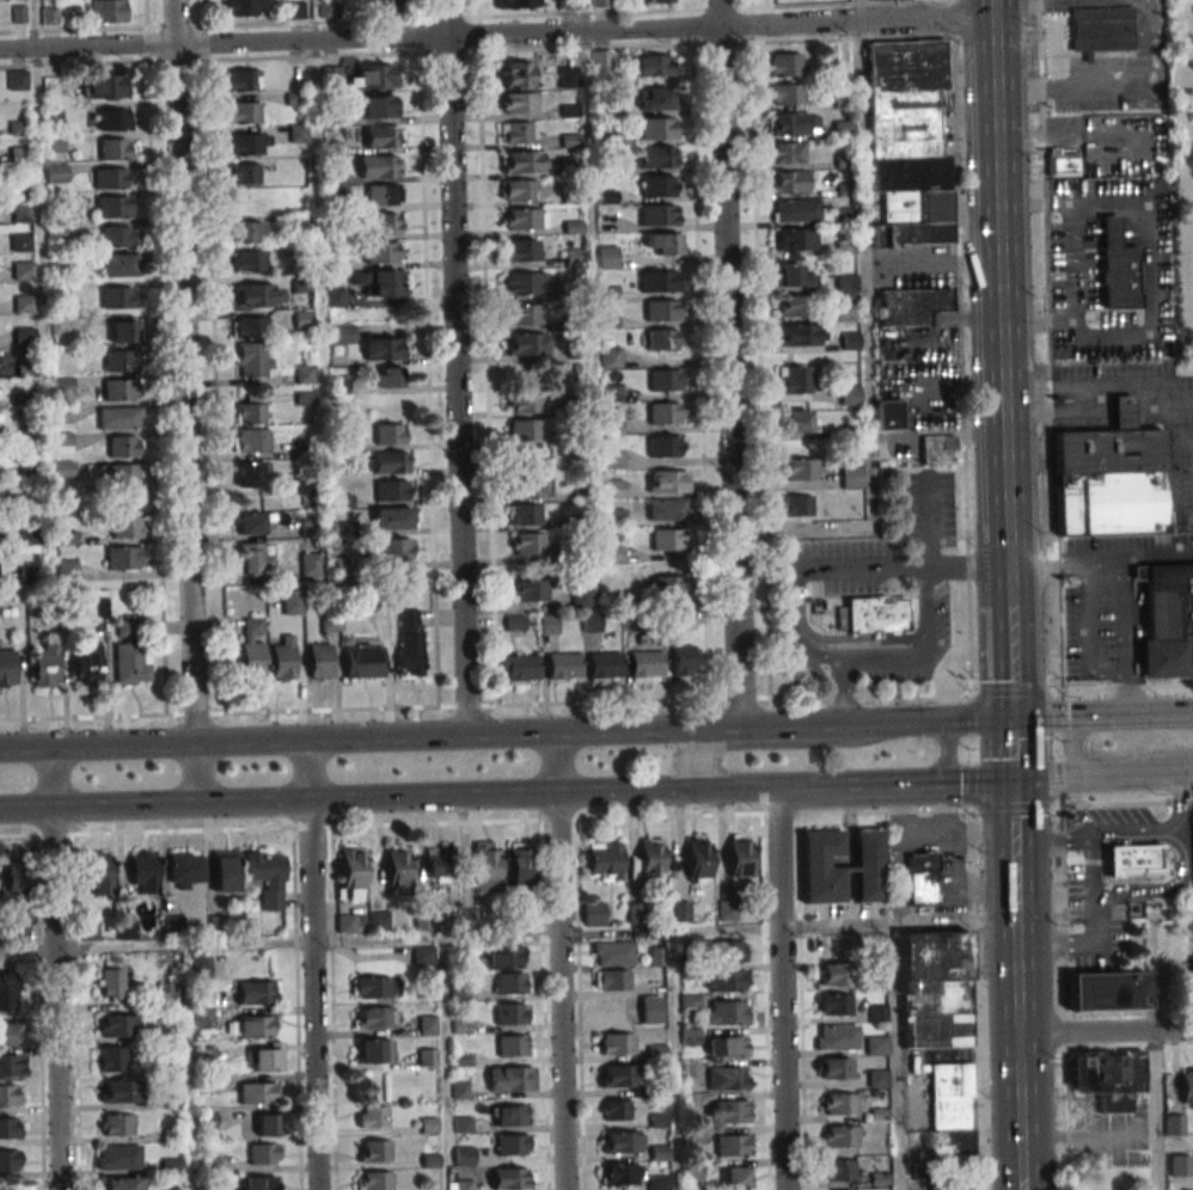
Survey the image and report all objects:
building: (874, 0)
building: (657, 1)
building: (519, 4)
building: (599, 4)
building: (386, 6)
building: (246, 7)
building: (326, 10)
building: (108, 11)
building: (49, 16)
building: (1100, 30)
road: (494, 33)
building: (600, 60)
building: (653, 65)
building: (787, 65)
building: (516, 74)
building: (377, 76)
building: (568, 76)
building: (17, 80)
building: (243, 80)
building: (105, 86)
building: (787, 93)
building: (656, 98)
building: (518, 103)
building: (379, 106)
building: (243, 111)
building: (112, 118)
building: (793, 123)
building: (657, 128)
building: (842, 129)
building: (515, 133)
building: (298, 134)
building: (383, 136)
building: (908, 142)
building: (247, 143)
building: (115, 148)
building: (788, 153)
building: (656, 157)
building: (522, 161)
building: (570, 162)
building: (1063, 162)
building: (378, 166)
building: (56, 173)
building: (244, 174)
building: (110, 178)
building: (790, 182)
building: (659, 185)
building: (519, 190)
building: (383, 195)
building: (112, 207)
building: (795, 210)
building: (20, 213)
building: (659, 214)
building: (837, 215)
building: (521, 219)
building: (383, 223)
building: (247, 232)
building: (117, 235)
building: (797, 239)
building: (20, 241)
building: (663, 244)
building: (522, 250)
building: (384, 252)
building: (607, 257)
building: (249, 260)
building: (116, 264)
building: (1118, 268)
building: (23, 270)
building: (795, 276)
building: (660, 281)
building: (301, 282)
building: (378, 282)
building: (845, 282)
building: (526, 283)
building: (258, 294)
road: (997, 295)
building: (117, 297)
building: (336, 297)
building: (24, 305)
building: (796, 306)
building: (911, 306)
building: (663, 311)
building: (846, 311)
building: (524, 314)
building: (304, 320)
building: (251, 327)
road: (865, 330)
building: (126, 331)
building: (342, 335)
building: (799, 335)
building: (24, 337)
building: (663, 339)
building: (850, 341)
building: (527, 344)
road: (1047, 344)
building: (384, 348)
building: (611, 357)
building: (252, 360)
building: (118, 361)
road: (728, 364)
road: (453, 368)
building: (305, 374)
building: (389, 378)
building: (795, 379)
building: (666, 380)
building: (118, 388)
building: (612, 392)
building: (850, 395)
road: (184, 401)
building: (525, 403)
road: (1084, 404)
building: (250, 412)
building: (665, 412)
building: (1122, 413)
building: (889, 415)
parking lot: (1137, 417)
building: (118, 418)
building: (799, 421)
building: (525, 429)
building: (390, 434)
building: (250, 440)
building: (123, 446)
building: (666, 446)
road: (1181, 447)
building: (938, 449)
building: (528, 458)
building: (613, 459)
road: (1170, 459)
building: (391, 462)
building: (802, 468)
building: (124, 474)
building: (251, 474)
building: (851, 478)
building: (668, 481)
building: (1108, 483)
building: (531, 486)
building: (614, 489)
building: (393, 490)
building: (128, 499)
building: (799, 505)
building: (668, 509)
building: (524, 515)
building: (392, 517)
building: (252, 522)
road: (926, 523)
building: (127, 527)
building: (667, 539)
building: (528, 544)
building: (396, 548)
building: (123, 558)
road: (1097, 558)
building: (251, 559)
road: (855, 569)
building: (66, 571)
building: (29, 573)
building: (1138, 573)
building: (668, 585)
building: (530, 590)
road: (1138, 594)
building: (583, 599)
building: (293, 602)
parking lot: (1111, 602)
building: (97, 607)
building: (875, 617)
building: (591, 621)
building: (1168, 621)
road: (1088, 636)
road: (1124, 636)
road: (1007, 642)
building: (410, 643)
building: (252, 648)
building: (129, 652)
road: (908, 655)
building: (283, 660)
building: (363, 661)
building: (319, 662)
building: (683, 662)
building: (86, 663)
building: (44, 665)
building: (563, 665)
building: (647, 665)
building: (605, 667)
building: (6, 668)
building: (519, 669)
road: (1125, 685)
road: (990, 693)
road: (1034, 693)
road: (1009, 706)
road: (1101, 716)
traffic signals: (1010, 718)
road: (875, 723)
road: (369, 737)
road: (1070, 747)
road: (696, 748)
road: (1010, 749)
road: (947, 757)
road: (555, 763)
road: (306, 771)
road: (1102, 774)
road: (49, 778)
traffic signals: (1011, 781)
road: (856, 789)
road: (1174, 797)
road: (349, 799)
road: (1134, 832)
road: (1053, 836)
road: (1014, 844)
building: (651, 855)
building: (699, 859)
building: (740, 859)
building: (1134, 860)
building: (605, 861)
building: (519, 863)
building: (438, 864)
building: (840, 866)
building: (487, 867)
building: (142, 869)
building: (185, 870)
building: (398, 870)
building: (225, 871)
building: (98, 872)
building: (350, 872)
building: (16, 877)
building: (265, 877)
building: (922, 879)
road: (1171, 890)
building: (727, 909)
building: (680, 910)
building: (594, 914)
building: (379, 921)
building: (345, 924)
road: (763, 928)
building: (1192, 928)
building: (127, 930)
road: (1099, 930)
building: (87, 931)
building: (17, 933)
road: (154, 944)
building: (732, 951)
building: (613, 953)
building: (422, 955)
building: (504, 957)
building: (201, 968)
building: (836, 974)
building: (612, 980)
building: (726, 980)
building: (510, 982)
building: (110, 983)
building: (373, 987)
building: (935, 989)
building: (7, 990)
road: (781, 990)
building: (1107, 990)
building: (256, 992)
road: (559, 992)
road: (312, 995)
road: (55, 999)
building: (836, 1005)
building: (727, 1012)
building: (510, 1013)
building: (373, 1017)
building: (427, 1024)
building: (117, 1025)
building: (251, 1026)
road: (1106, 1032)
building: (8, 1035)
building: (690, 1036)
building: (838, 1037)
road: (1018, 1041)
building: (620, 1043)
building: (512, 1045)
building: (727, 1045)
building: (876, 1045)
building: (374, 1050)
building: (203, 1057)
building: (267, 1057)
building: (427, 1057)
road: (894, 1057)
building: (112, 1059)
building: (11, 1066)
building: (837, 1068)
building: (619, 1076)
building: (1108, 1076)
building: (512, 1078)
building: (727, 1078)
building: (120, 1091)
building: (258, 1093)
building: (10, 1094)
building: (840, 1103)
building: (617, 1110)
building: (728, 1110)
road: (1157, 1110)
building: (949, 1111)
building: (510, 1115)
building: (373, 1117)
building: (206, 1120)
building: (117, 1124)
building: (267, 1124)
building: (1175, 1124)
building: (8, 1128)
building: (840, 1136)
building: (623, 1141)
road: (1175, 1143)
building: (514, 1145)
building: (733, 1145)
building: (374, 1151)
building: (263, 1154)
building: (117, 1157)
building: (8, 1160)
building: (839, 1170)
building: (620, 1174)
building: (738, 1177)
building: (513, 1178)
building: (374, 1180)
building: (122, 1183)
building: (257, 1183)
building: (659, 1183)
road: (1022, 1183)
building: (463, 1184)
building: (952, 1184)

